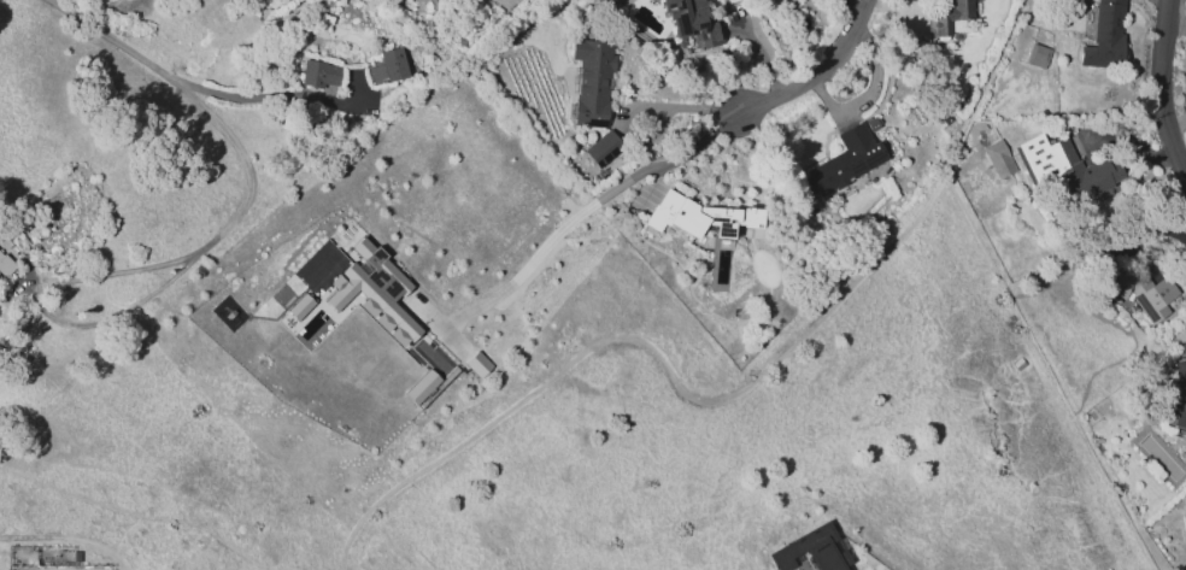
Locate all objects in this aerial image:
road: (853, 5)
building: (947, 16)
building: (692, 22)
building: (1104, 35)
building: (1037, 55)
building: (386, 66)
building: (319, 74)
road: (817, 76)
building: (591, 81)
road: (187, 83)
road: (1159, 88)
road: (869, 89)
road: (630, 107)
building: (601, 148)
building: (998, 158)
building: (844, 161)
building: (1067, 168)
road: (586, 206)
building: (698, 216)
road: (1157, 229)
building: (4, 268)
road: (121, 271)
building: (1133, 288)
road: (1009, 290)
building: (374, 292)
building: (299, 306)
road: (650, 353)
building: (477, 364)
building: (421, 387)
building: (1179, 395)
building: (811, 551)

